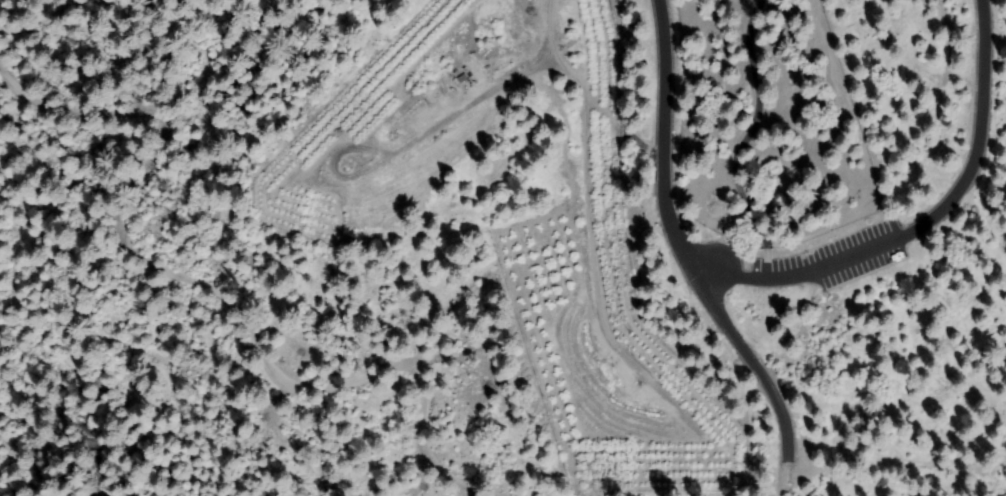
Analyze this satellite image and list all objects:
road: (249, 344)

